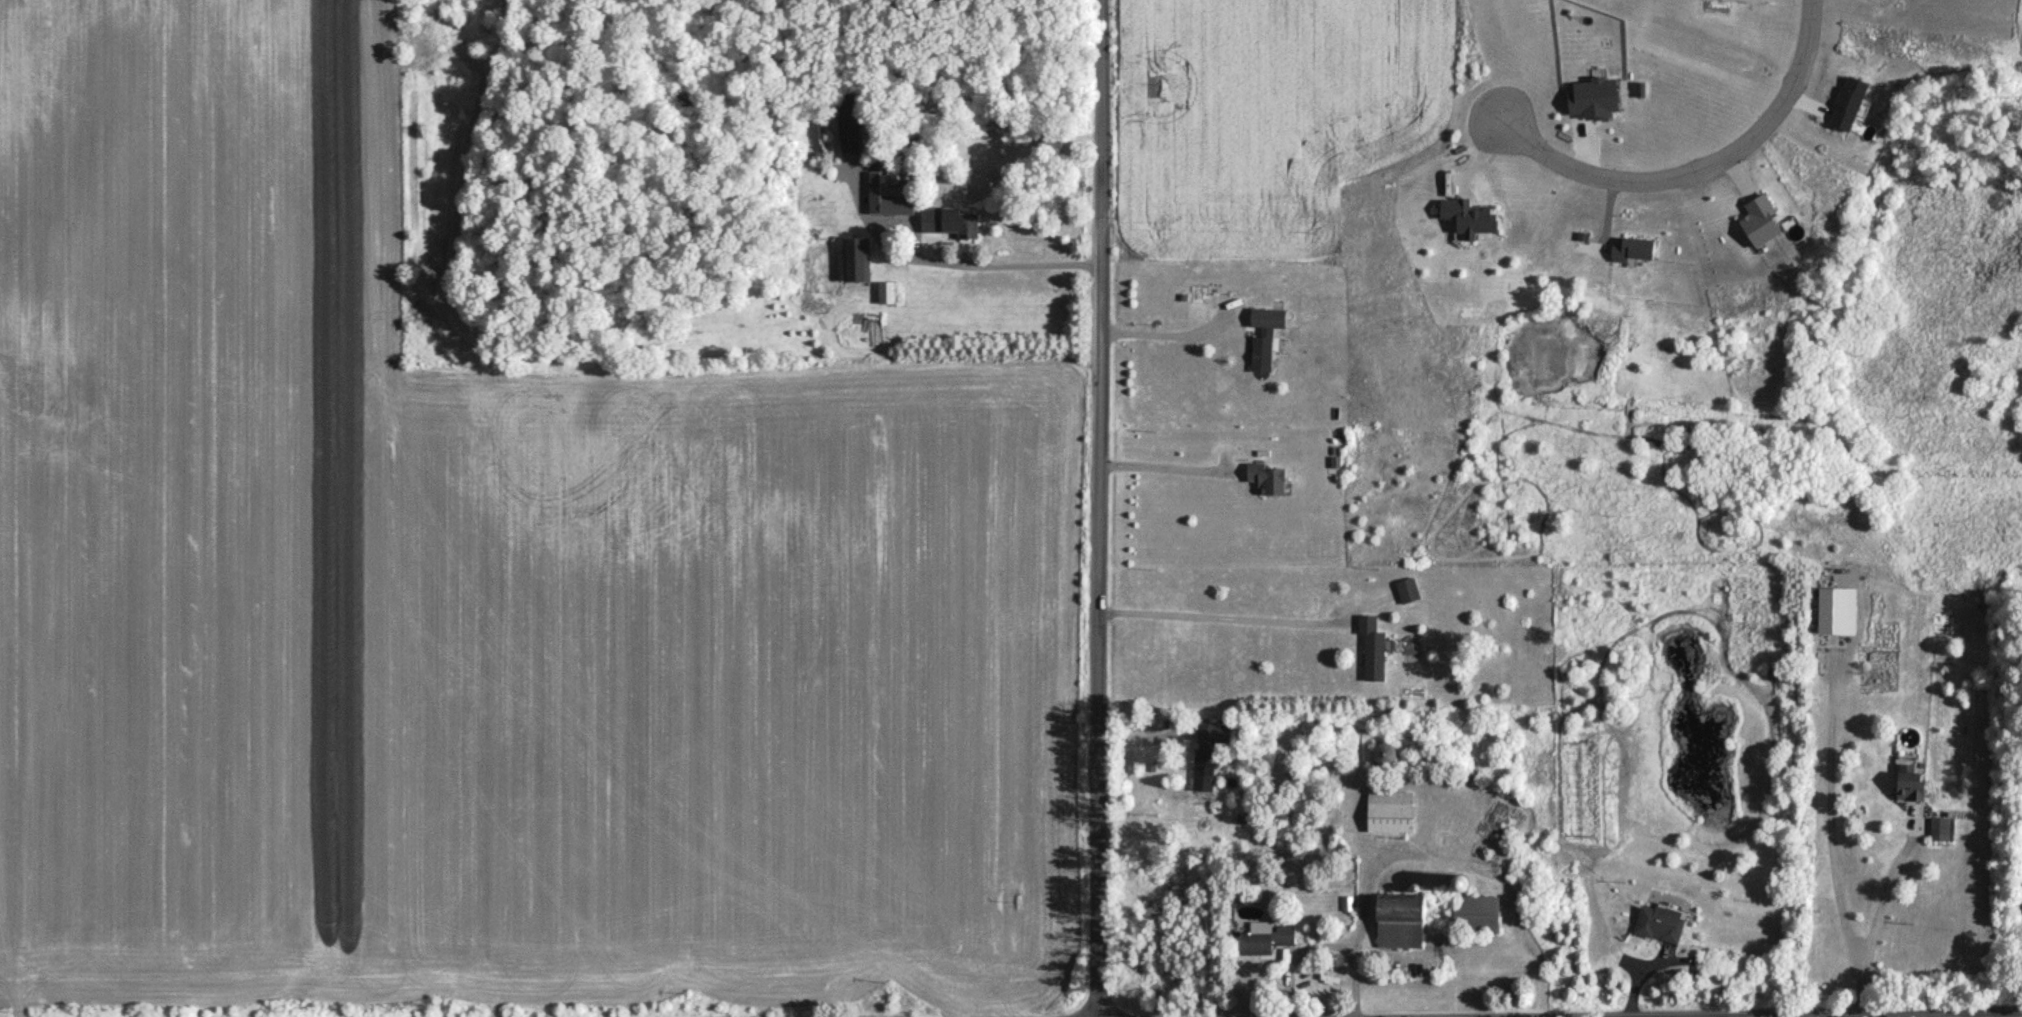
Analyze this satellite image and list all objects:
road: (1703, 169)
building: (892, 204)
building: (950, 224)
building: (860, 268)
road: (989, 268)
road: (1169, 339)
building: (1267, 340)
road: (1160, 470)
building: (1268, 483)
road: (1095, 508)
road: (1216, 620)
building: (1374, 652)
road: (1144, 735)
building: (1209, 758)
building: (1912, 788)
building: (1391, 815)
building: (1943, 833)
road: (1371, 885)
building: (1478, 918)
road: (1877, 923)
building: (1403, 926)
building: (1661, 927)
building: (1266, 944)
road: (1326, 948)
road: (1940, 1016)
road: (2001, 1016)

